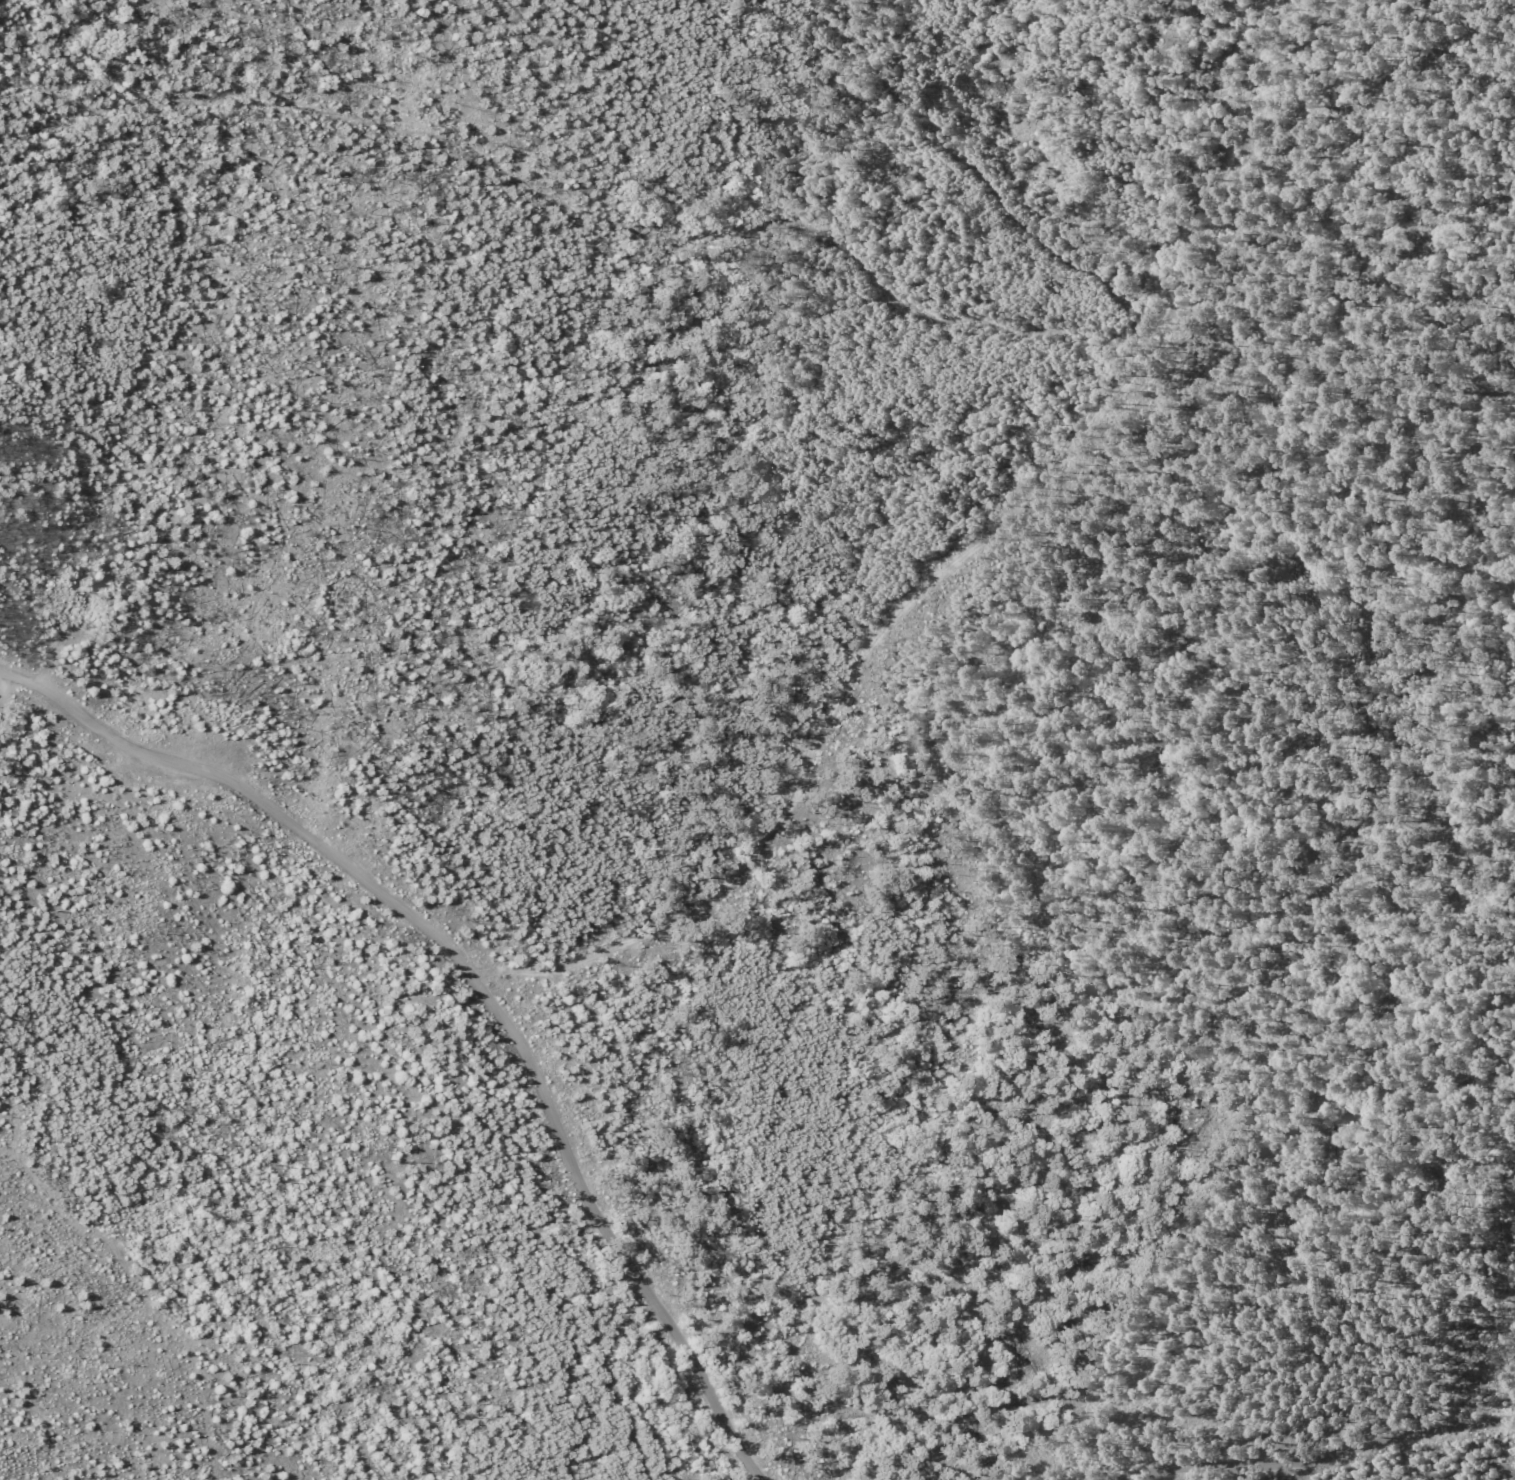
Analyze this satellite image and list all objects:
road: (1, 686)
park: (757, 740)
road: (475, 981)
road: (1318, 1456)

